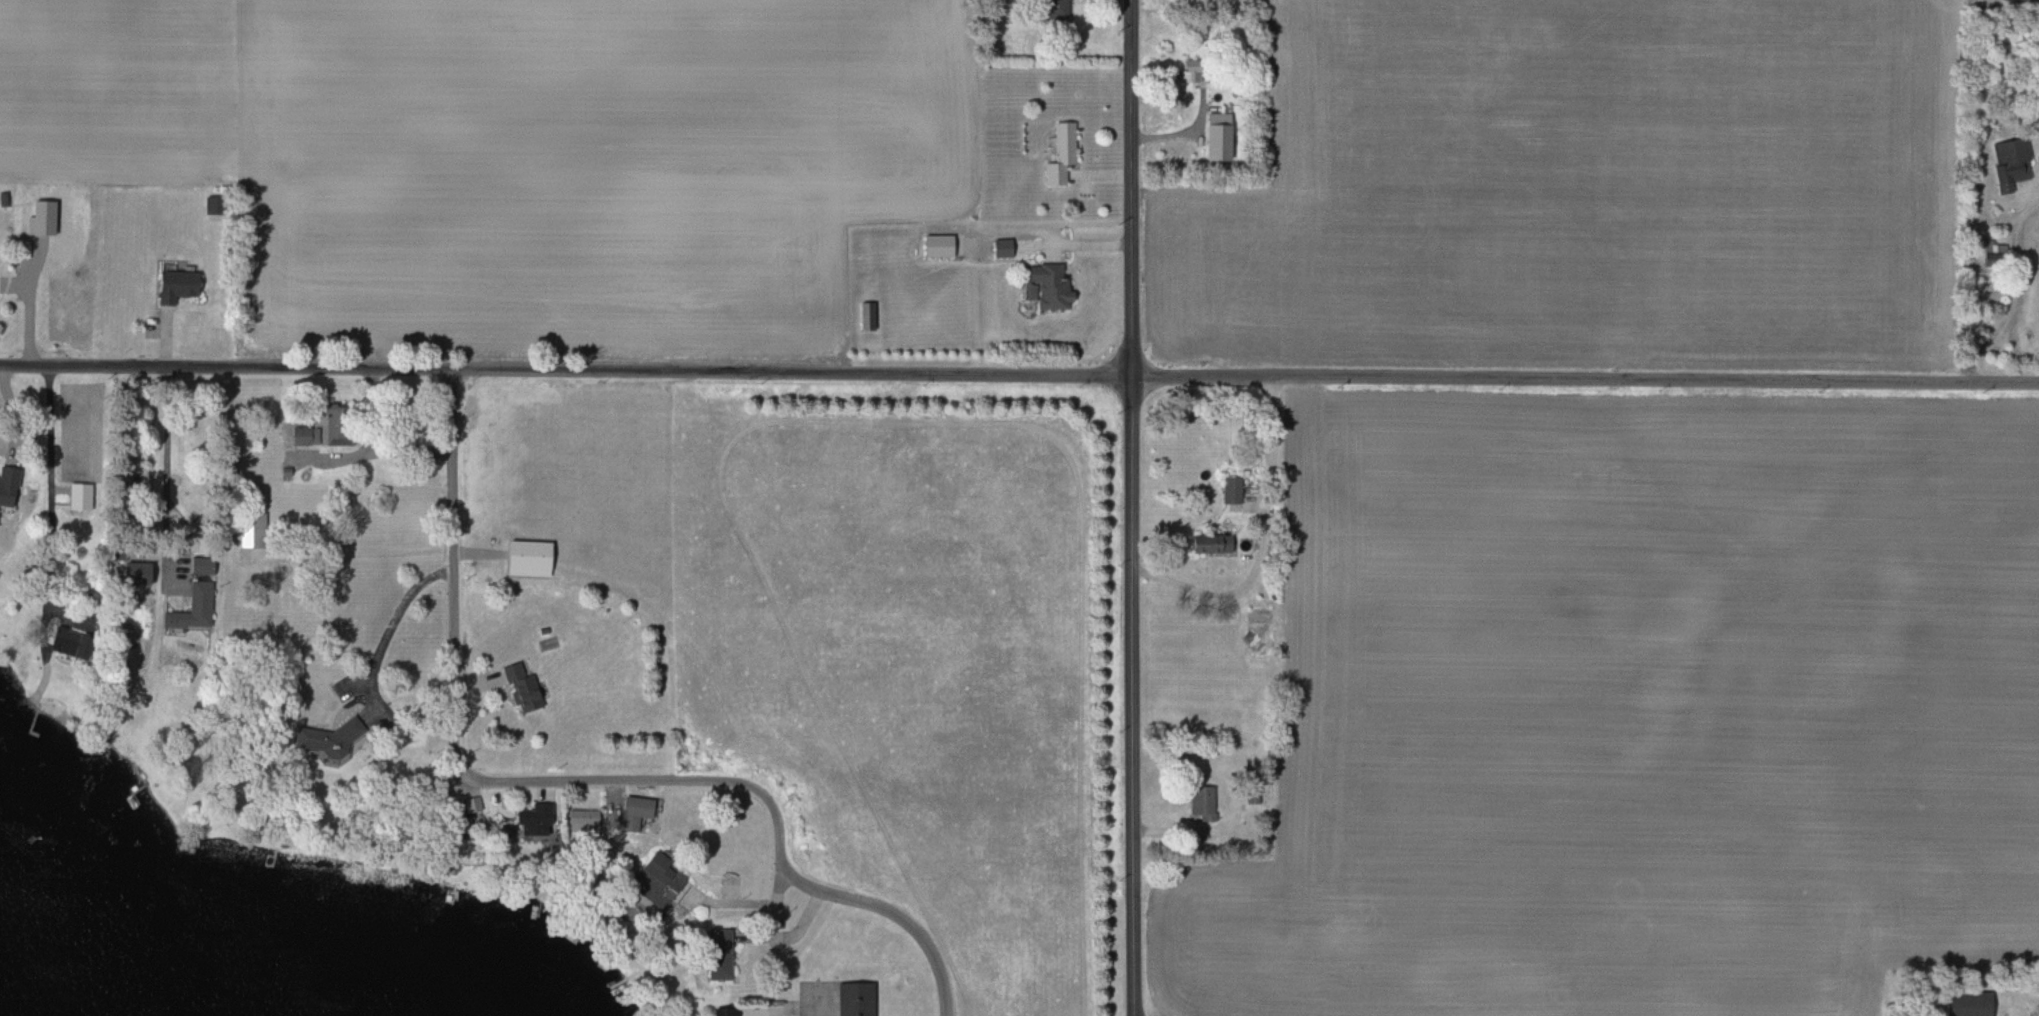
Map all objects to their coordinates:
building: (1053, 8)
building: (1187, 71)
building: (1214, 137)
building: (1057, 153)
building: (2007, 163)
road: (1132, 188)
building: (999, 248)
building: (170, 285)
building: (1045, 285)
road: (2016, 291)
road: (225, 367)
road: (793, 372)
road: (1586, 379)
building: (299, 434)
road: (399, 451)
road: (149, 458)
road: (50, 488)
building: (24, 490)
building: (1239, 492)
building: (250, 526)
building: (1207, 544)
building: (130, 574)
road: (1207, 592)
building: (188, 609)
road: (392, 621)
building: (518, 688)
road: (1135, 695)
road: (570, 782)
building: (1200, 803)
building: (467, 805)
building: (632, 813)
building: (528, 819)
building: (580, 821)
building: (646, 879)
road: (794, 932)
building: (714, 942)
building: (850, 999)
building: (1963, 1004)
road: (778, 1011)
building: (713, 1012)

